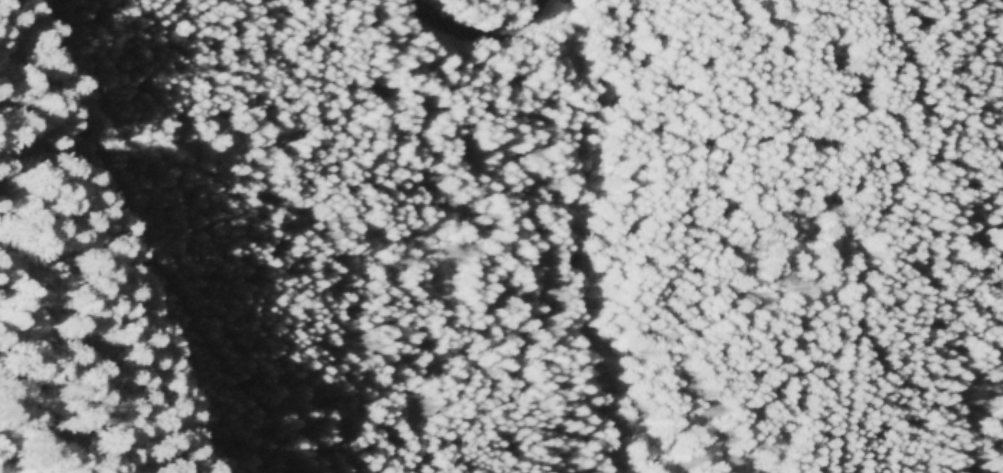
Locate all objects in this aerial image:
road: (481, 34)
road: (871, 217)
road: (141, 249)

